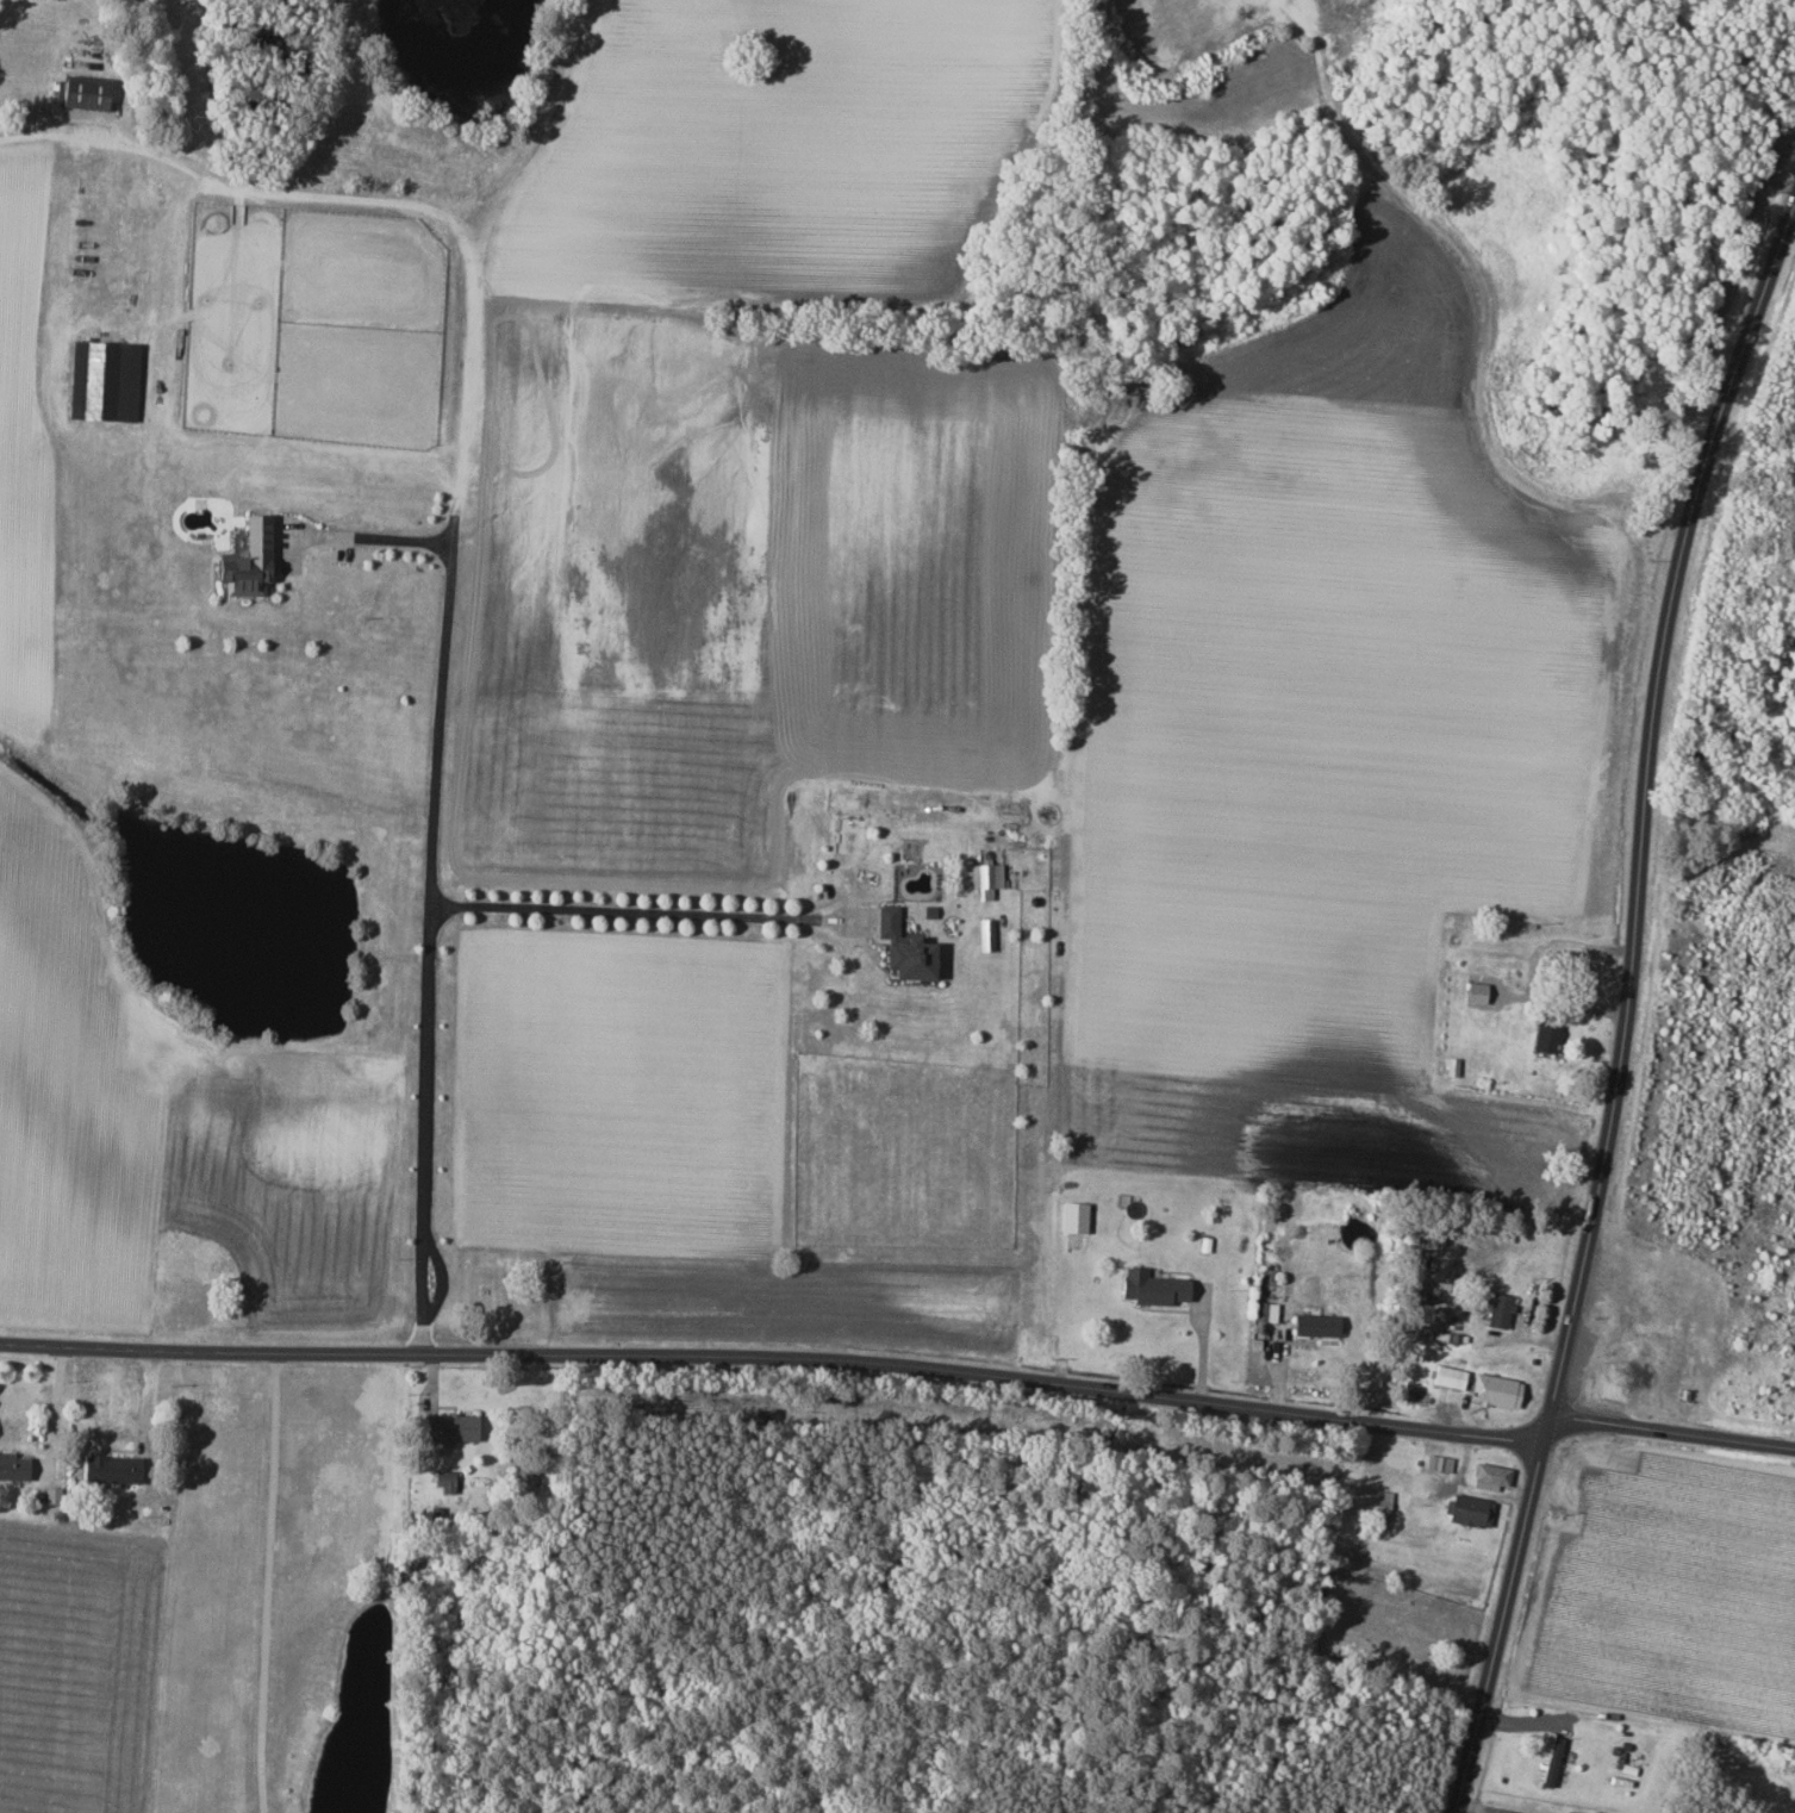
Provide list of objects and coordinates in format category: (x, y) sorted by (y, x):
building: (80, 92)
building: (100, 380)
building: (243, 561)
road: (435, 873)
building: (984, 878)
road: (628, 906)
building: (984, 934)
building: (1472, 992)
road: (1627, 1013)
building: (1545, 1034)
building: (1450, 1066)
building: (1071, 1226)
building: (1149, 1288)
building: (1497, 1312)
building: (1313, 1325)
road: (1203, 1340)
road: (774, 1354)
building: (1446, 1377)
building: (1492, 1391)
building: (448, 1429)
road: (1671, 1429)
building: (1438, 1463)
building: (108, 1468)
building: (1488, 1477)
building: (1380, 1506)
building: (1467, 1512)
road: (261, 1581)
building: (1550, 1761)
building: (1597, 1812)

